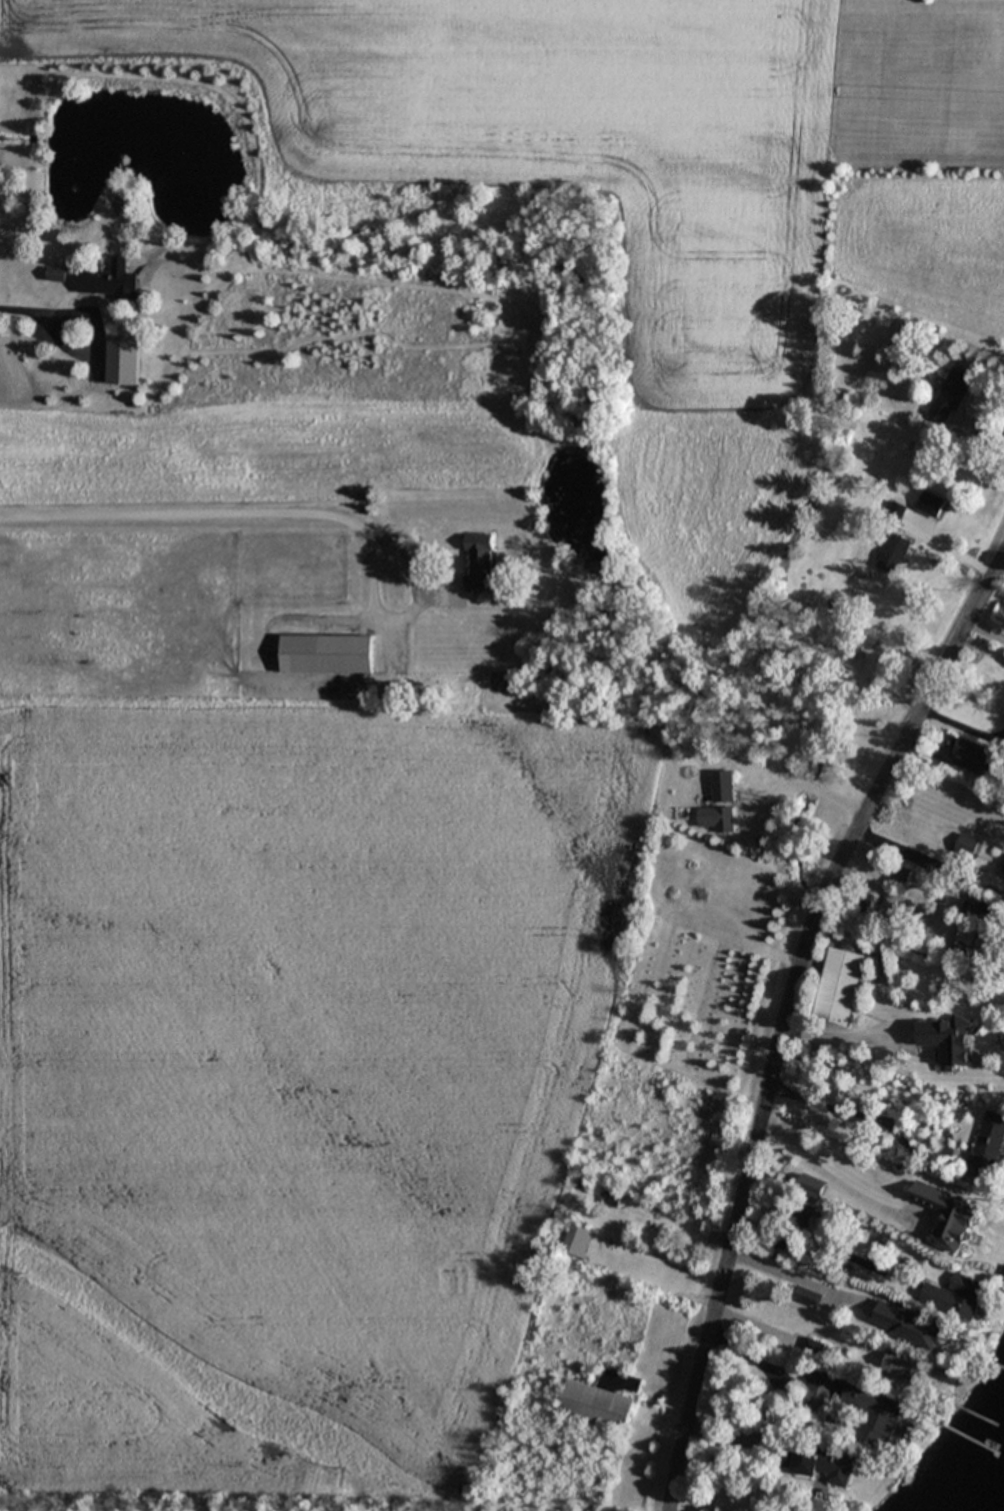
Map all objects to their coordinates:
building: (110, 280)
road: (40, 314)
building: (114, 356)
building: (951, 395)
building: (931, 503)
road: (211, 508)
building: (895, 550)
building: (478, 560)
road: (981, 648)
building: (327, 653)
building: (974, 751)
road: (954, 758)
road: (804, 783)
building: (723, 785)
building: (717, 818)
building: (968, 844)
road: (927, 852)
building: (902, 873)
building: (982, 909)
building: (965, 941)
building: (839, 985)
road: (786, 1014)
road: (840, 1033)
building: (947, 1040)
road: (859, 1114)
building: (989, 1141)
building: (611, 1196)
road: (877, 1208)
building: (967, 1224)
building: (577, 1240)
road: (812, 1259)
road: (800, 1276)
building: (808, 1295)
building: (957, 1296)
building: (908, 1324)
building: (905, 1366)
road: (768, 1367)
building: (602, 1399)
building: (874, 1412)
building: (818, 1461)

